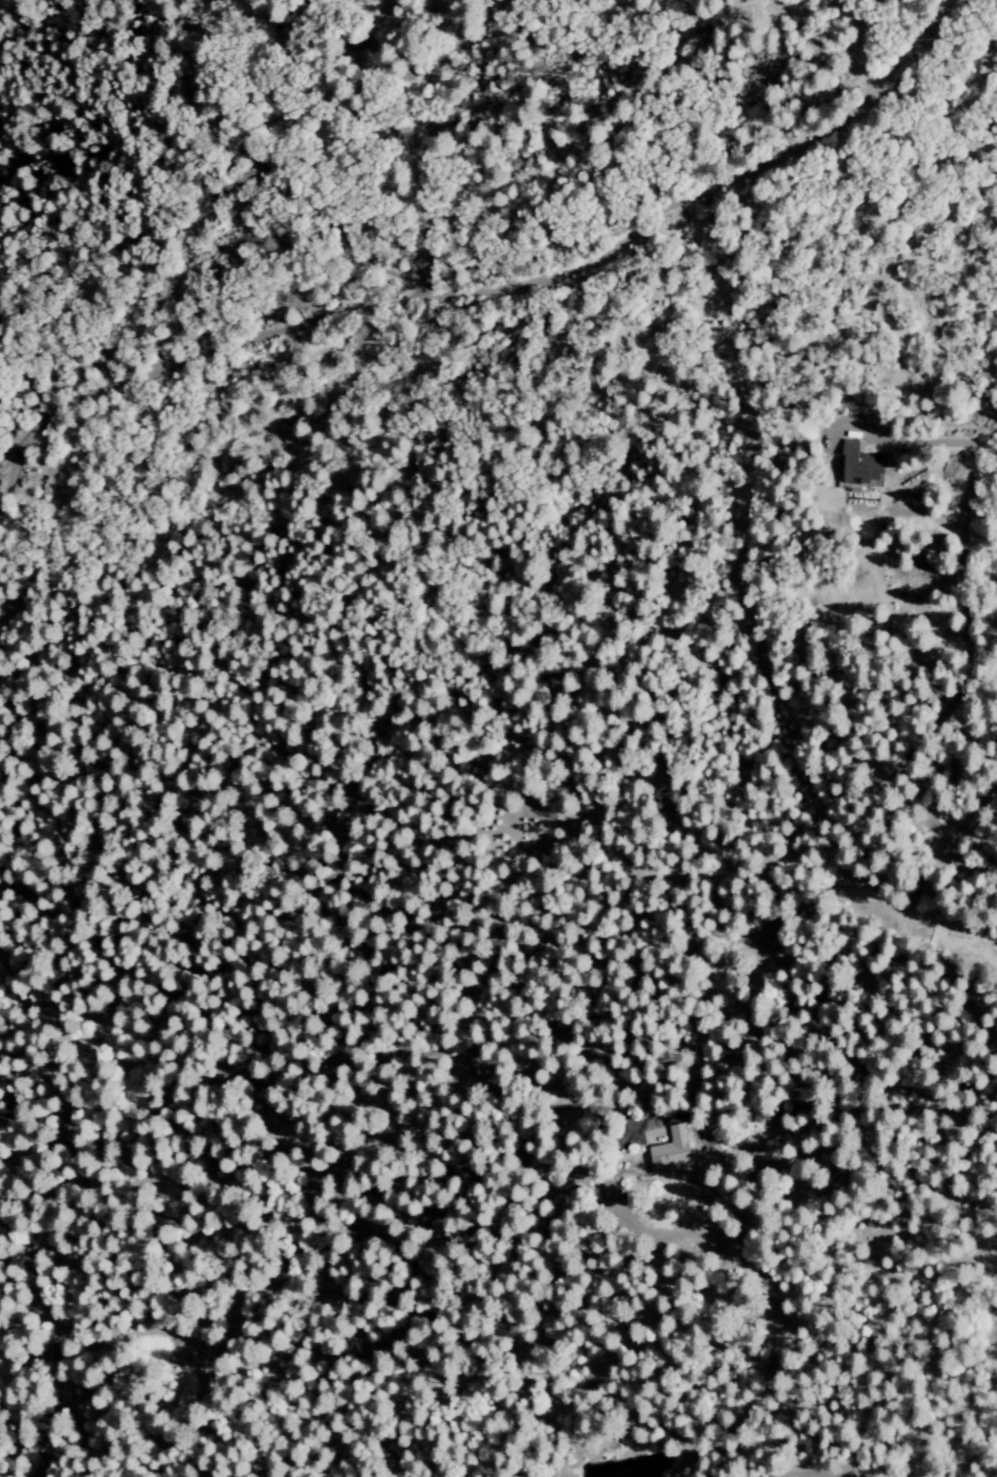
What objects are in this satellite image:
road: (261, 6)
road: (259, 169)
road: (480, 288)
building: (856, 464)
building: (863, 494)
road: (965, 617)
road: (918, 880)
road: (416, 1049)
road: (554, 1117)
building: (667, 1151)
road: (54, 1339)
road: (841, 1472)

